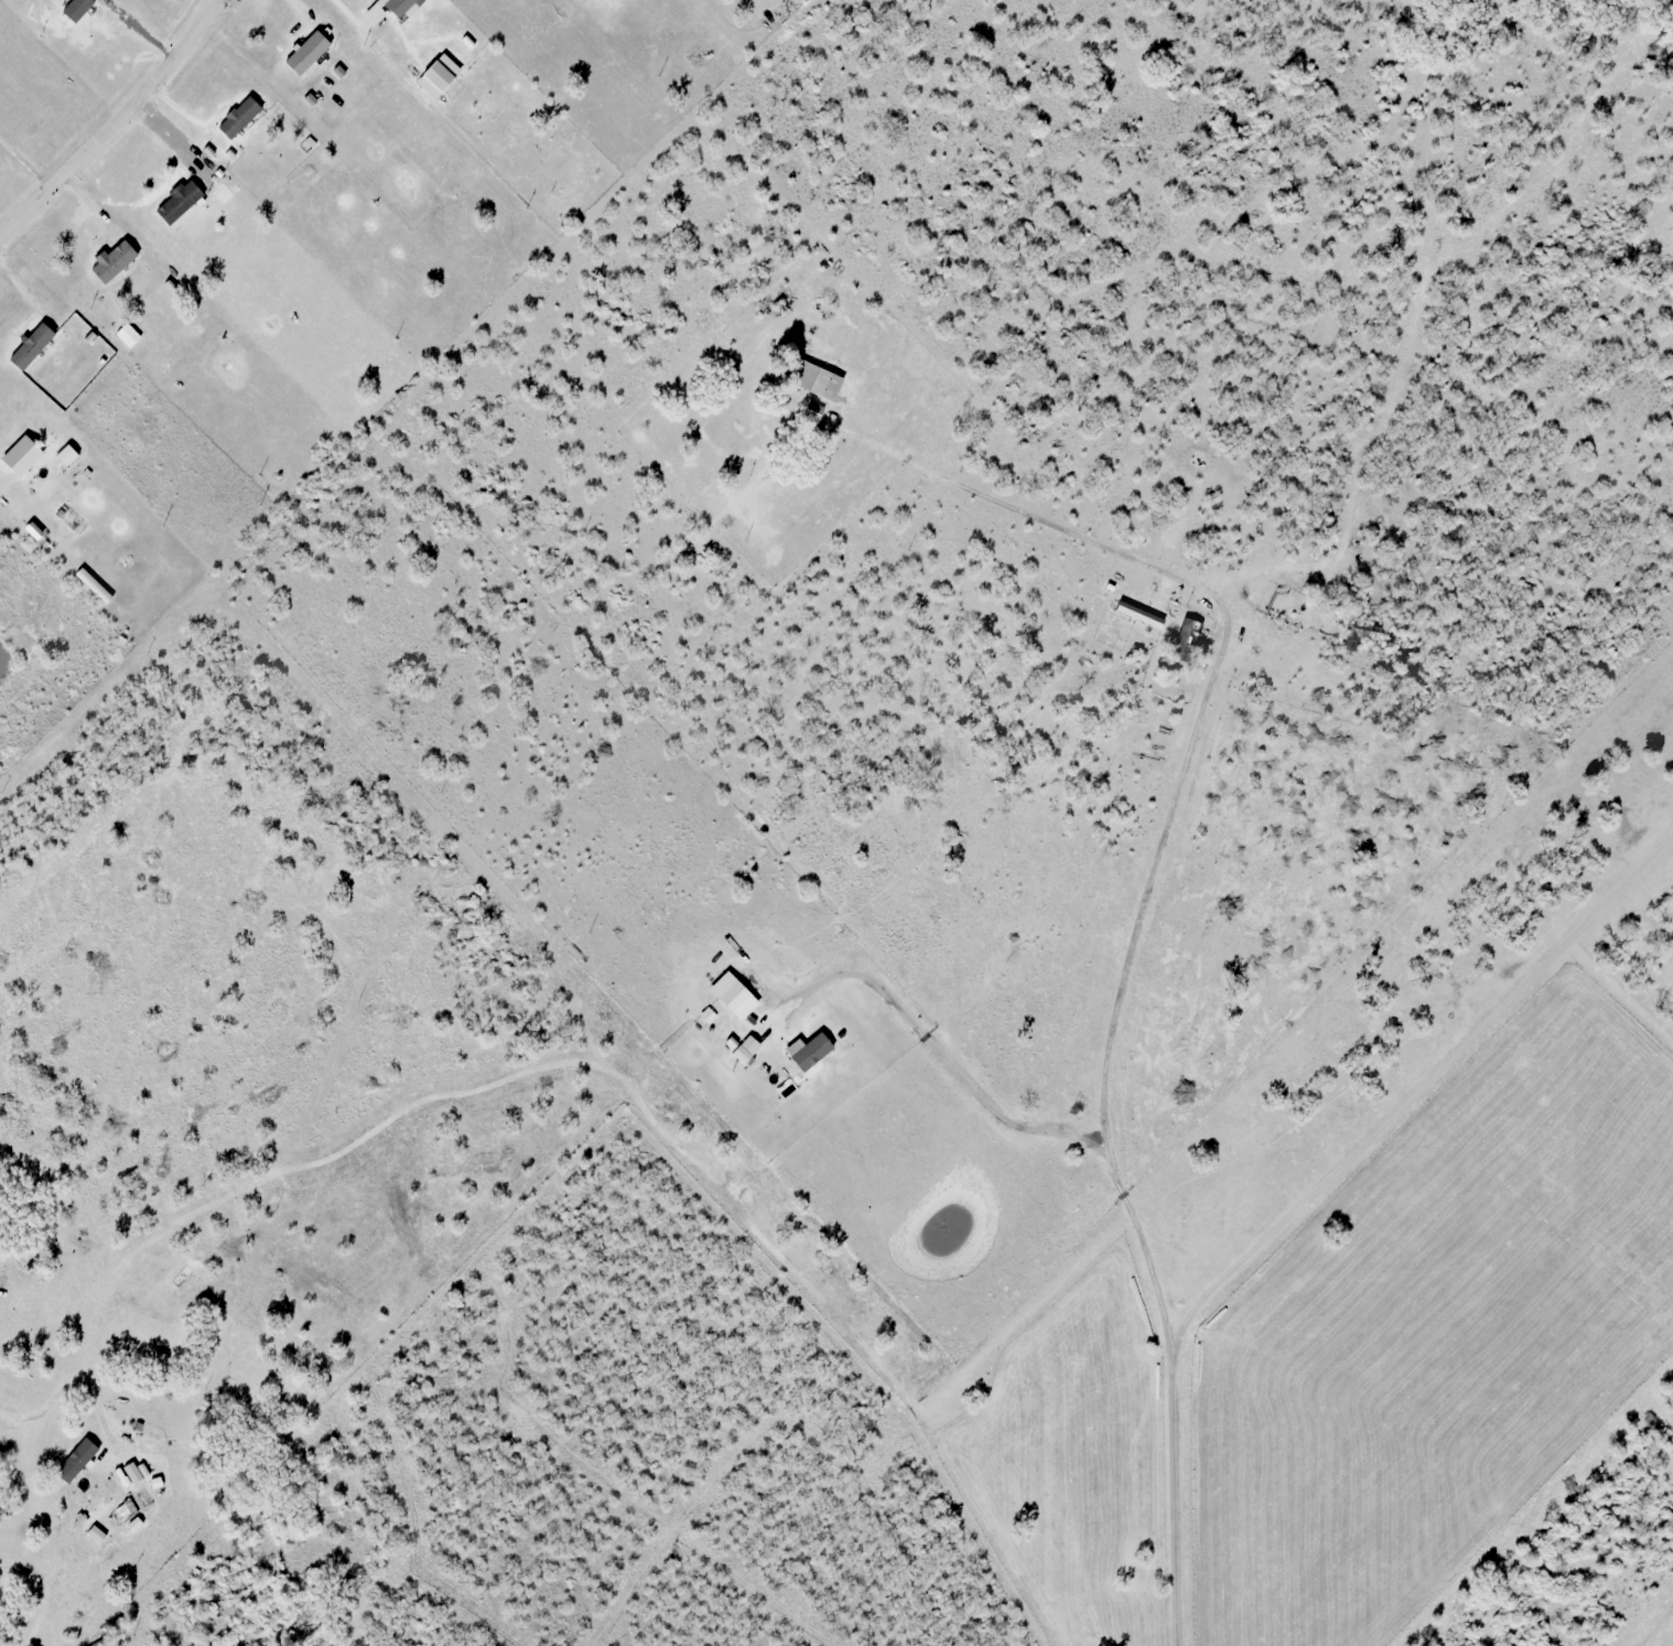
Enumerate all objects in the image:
building: (398, 6)
building: (312, 18)
building: (325, 31)
building: (305, 52)
building: (436, 76)
road: (114, 123)
building: (180, 201)
building: (112, 261)
building: (816, 379)
building: (813, 411)
building: (1359, 634)
building: (1186, 639)
road: (1185, 763)
road: (1312, 1196)
road: (28, 1410)
building: (76, 1460)
building: (141, 1469)
building: (121, 1475)
building: (155, 1482)
building: (122, 1510)

